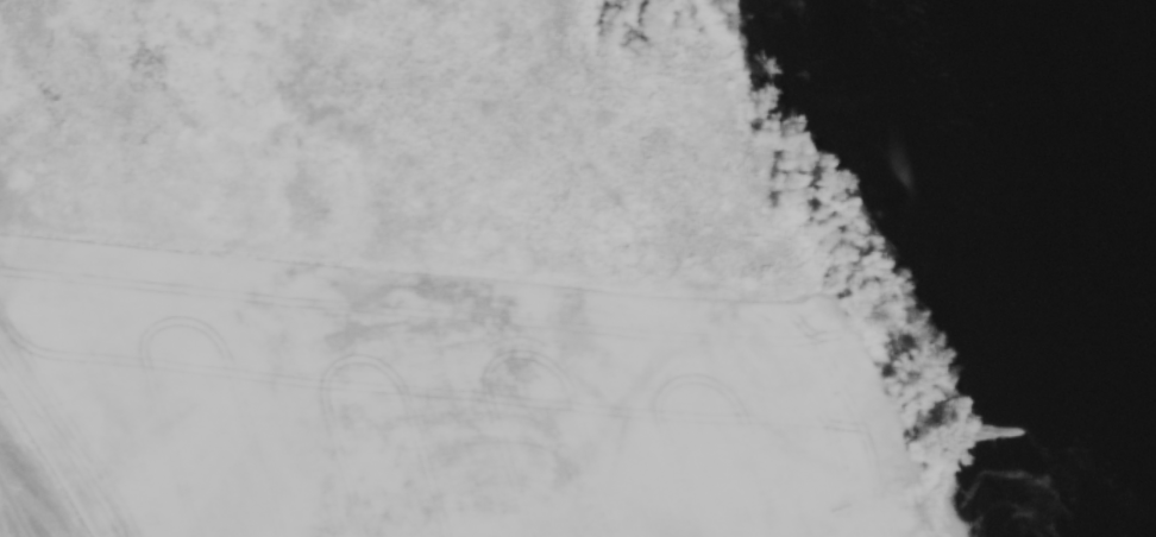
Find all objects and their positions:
road: (608, 44)
river: (1116, 78)
park: (421, 146)
road: (15, 508)

